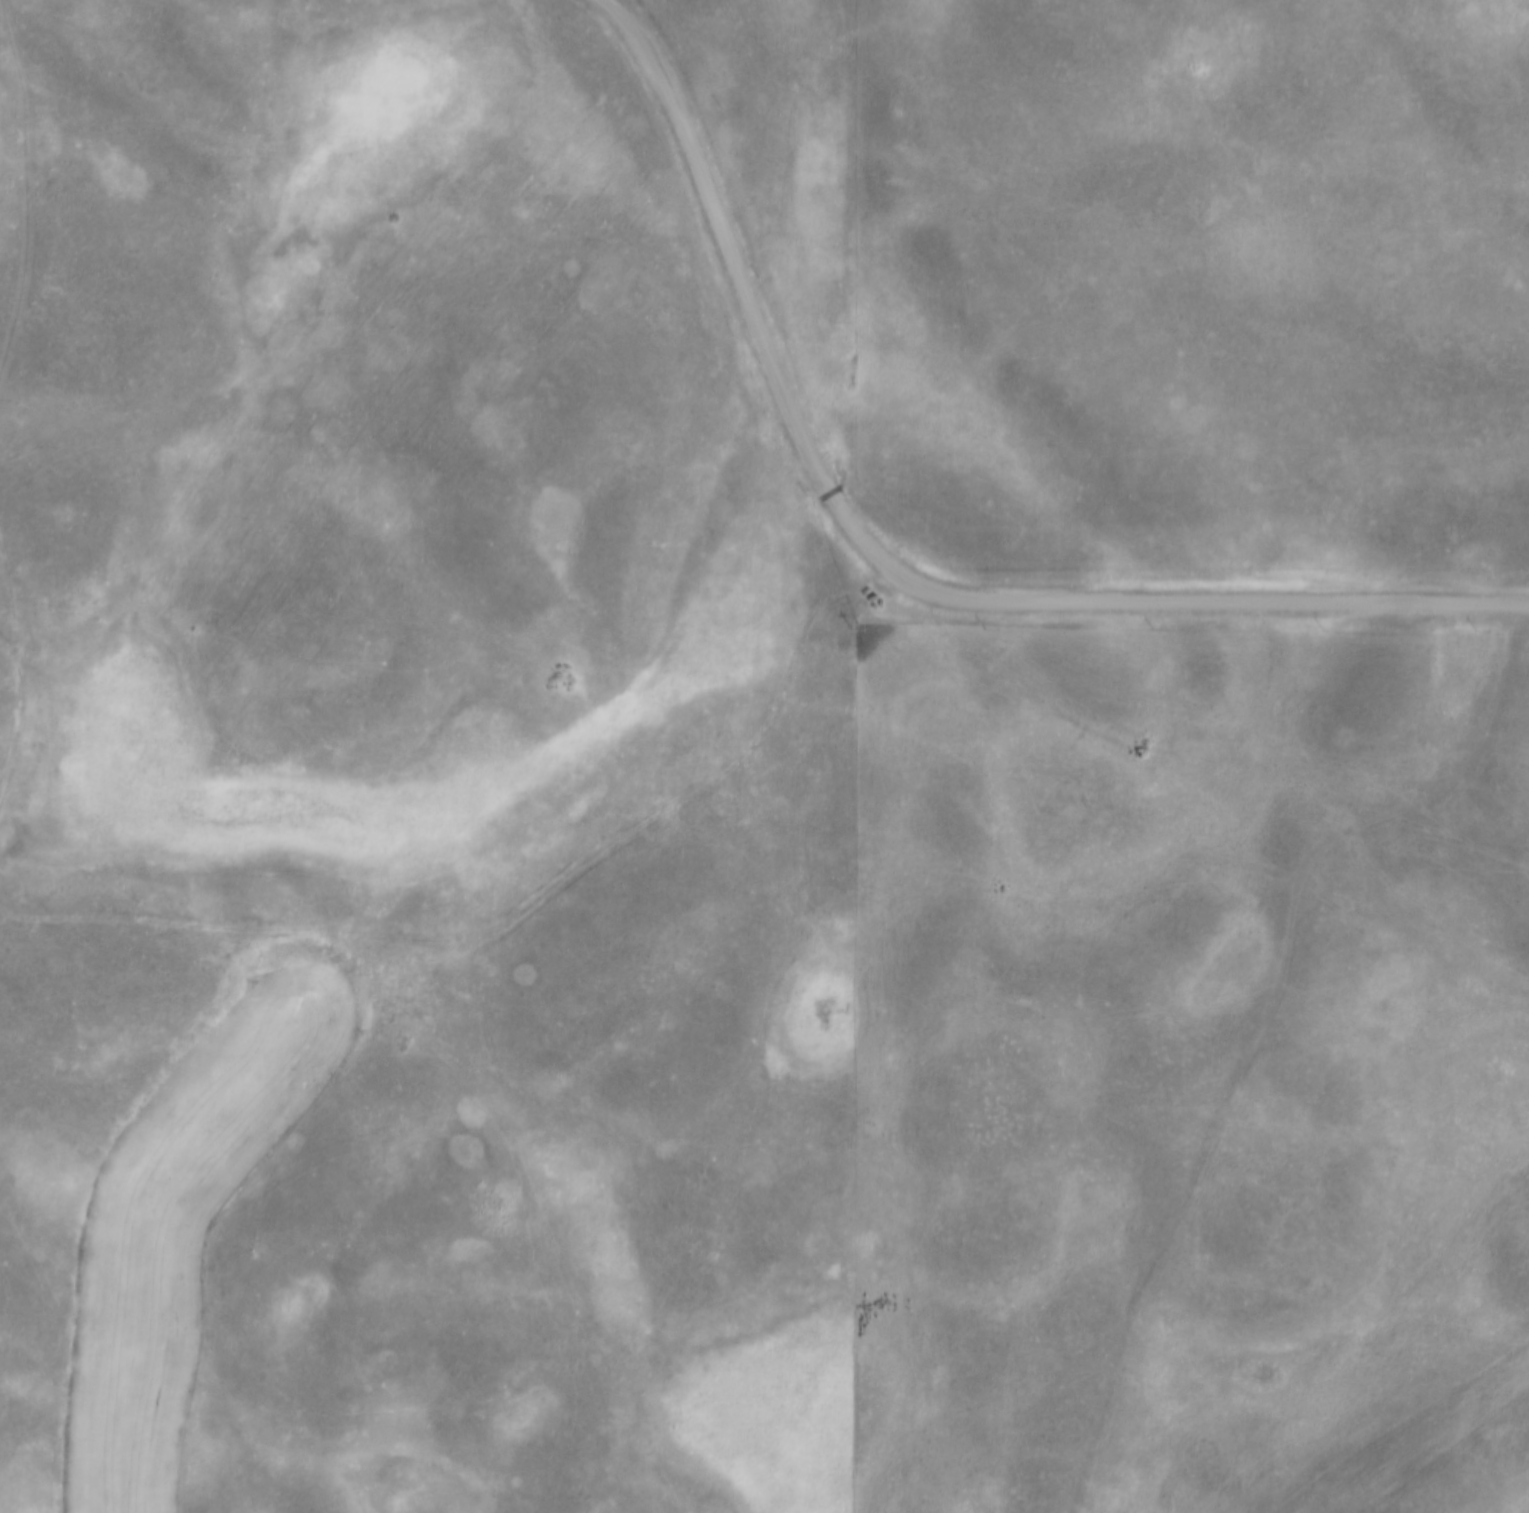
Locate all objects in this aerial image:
road: (31, 189)
road: (7, 648)
road: (17, 667)
road: (766, 725)

